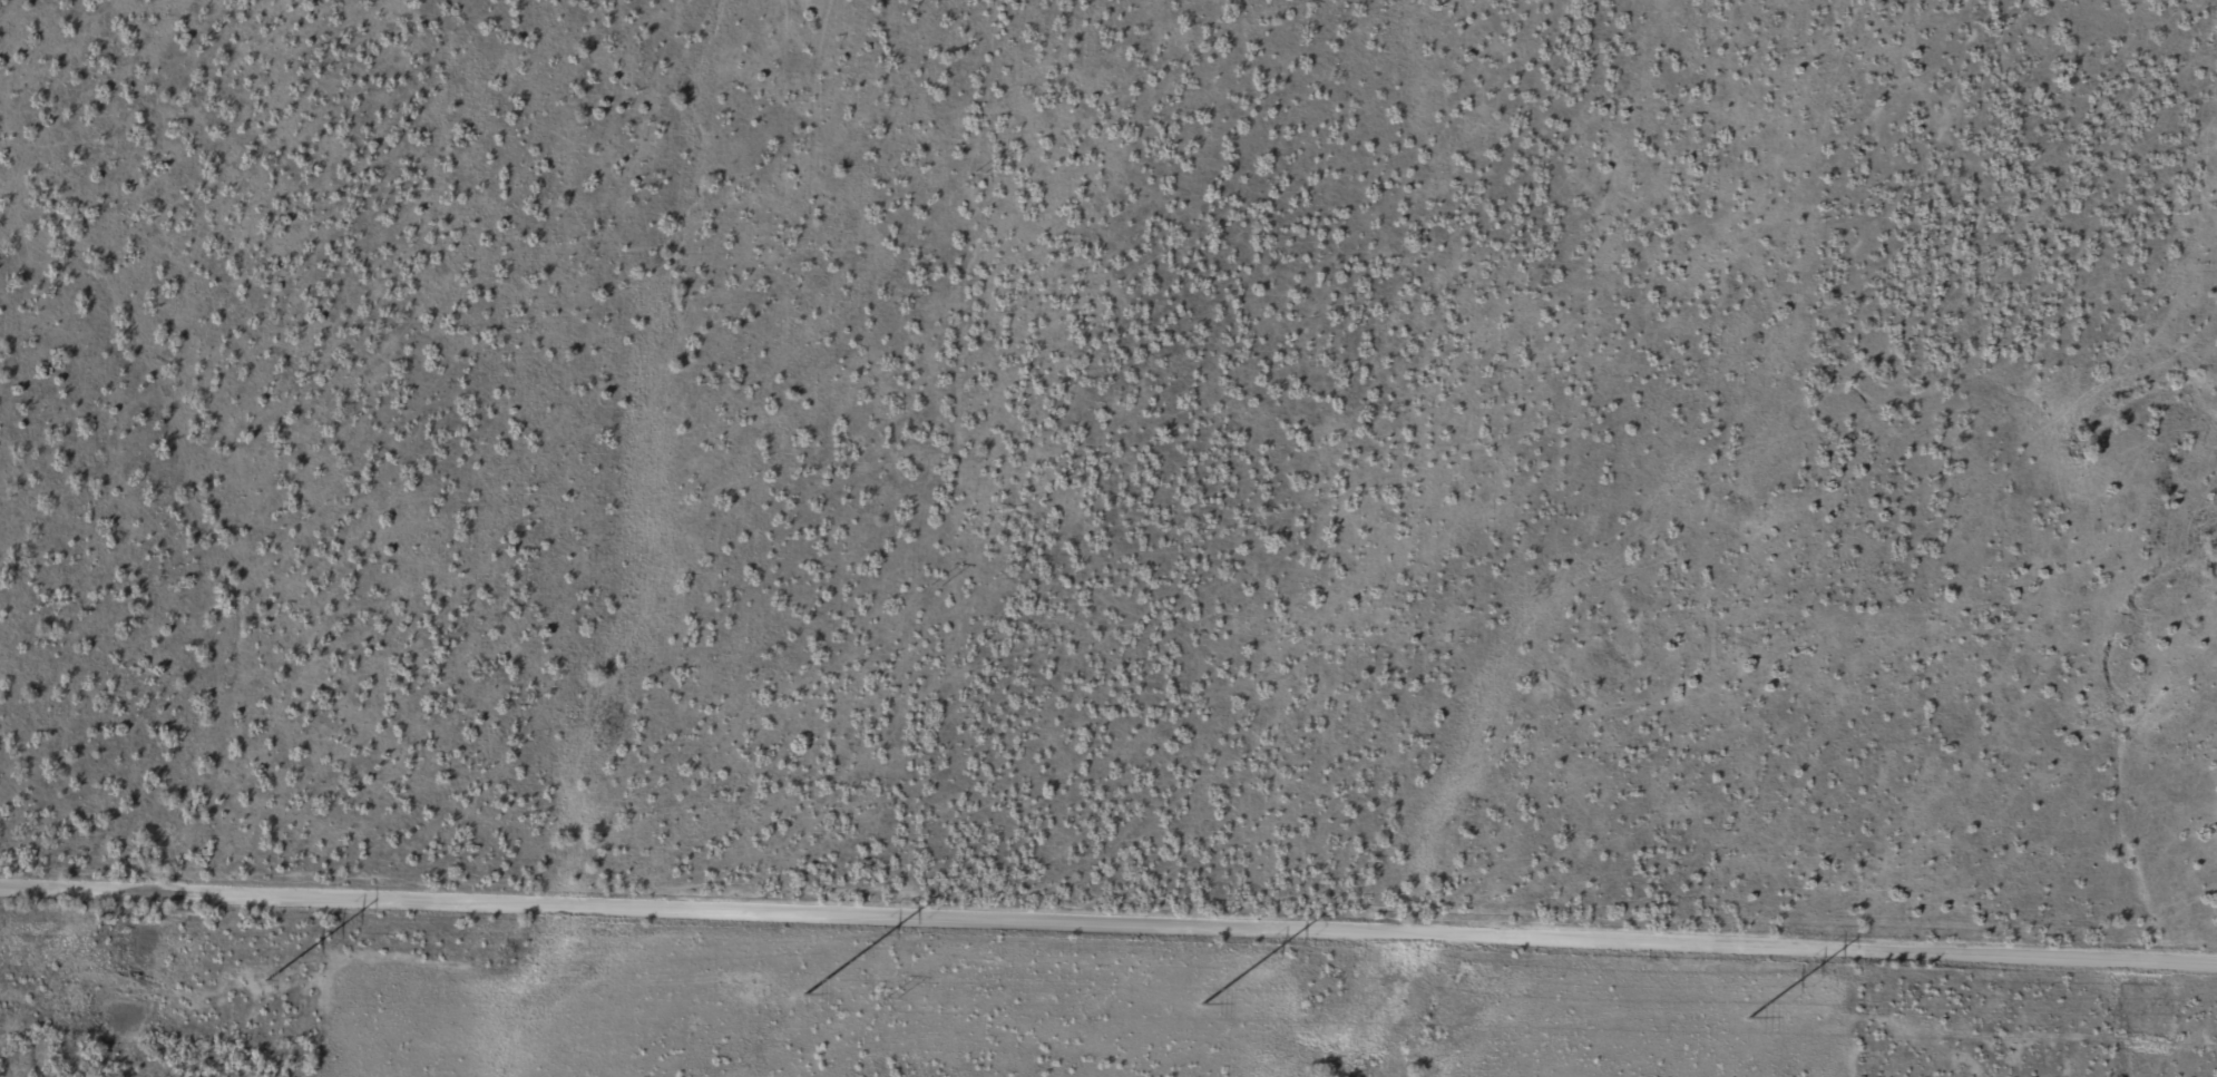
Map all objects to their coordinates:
power tower: (980, 173)
power tower: (935, 586)
road: (1108, 919)
power tower: (266, 978)
power tower: (805, 991)
power tower: (891, 999)
power tower: (1203, 1001)
power tower: (1750, 1015)

